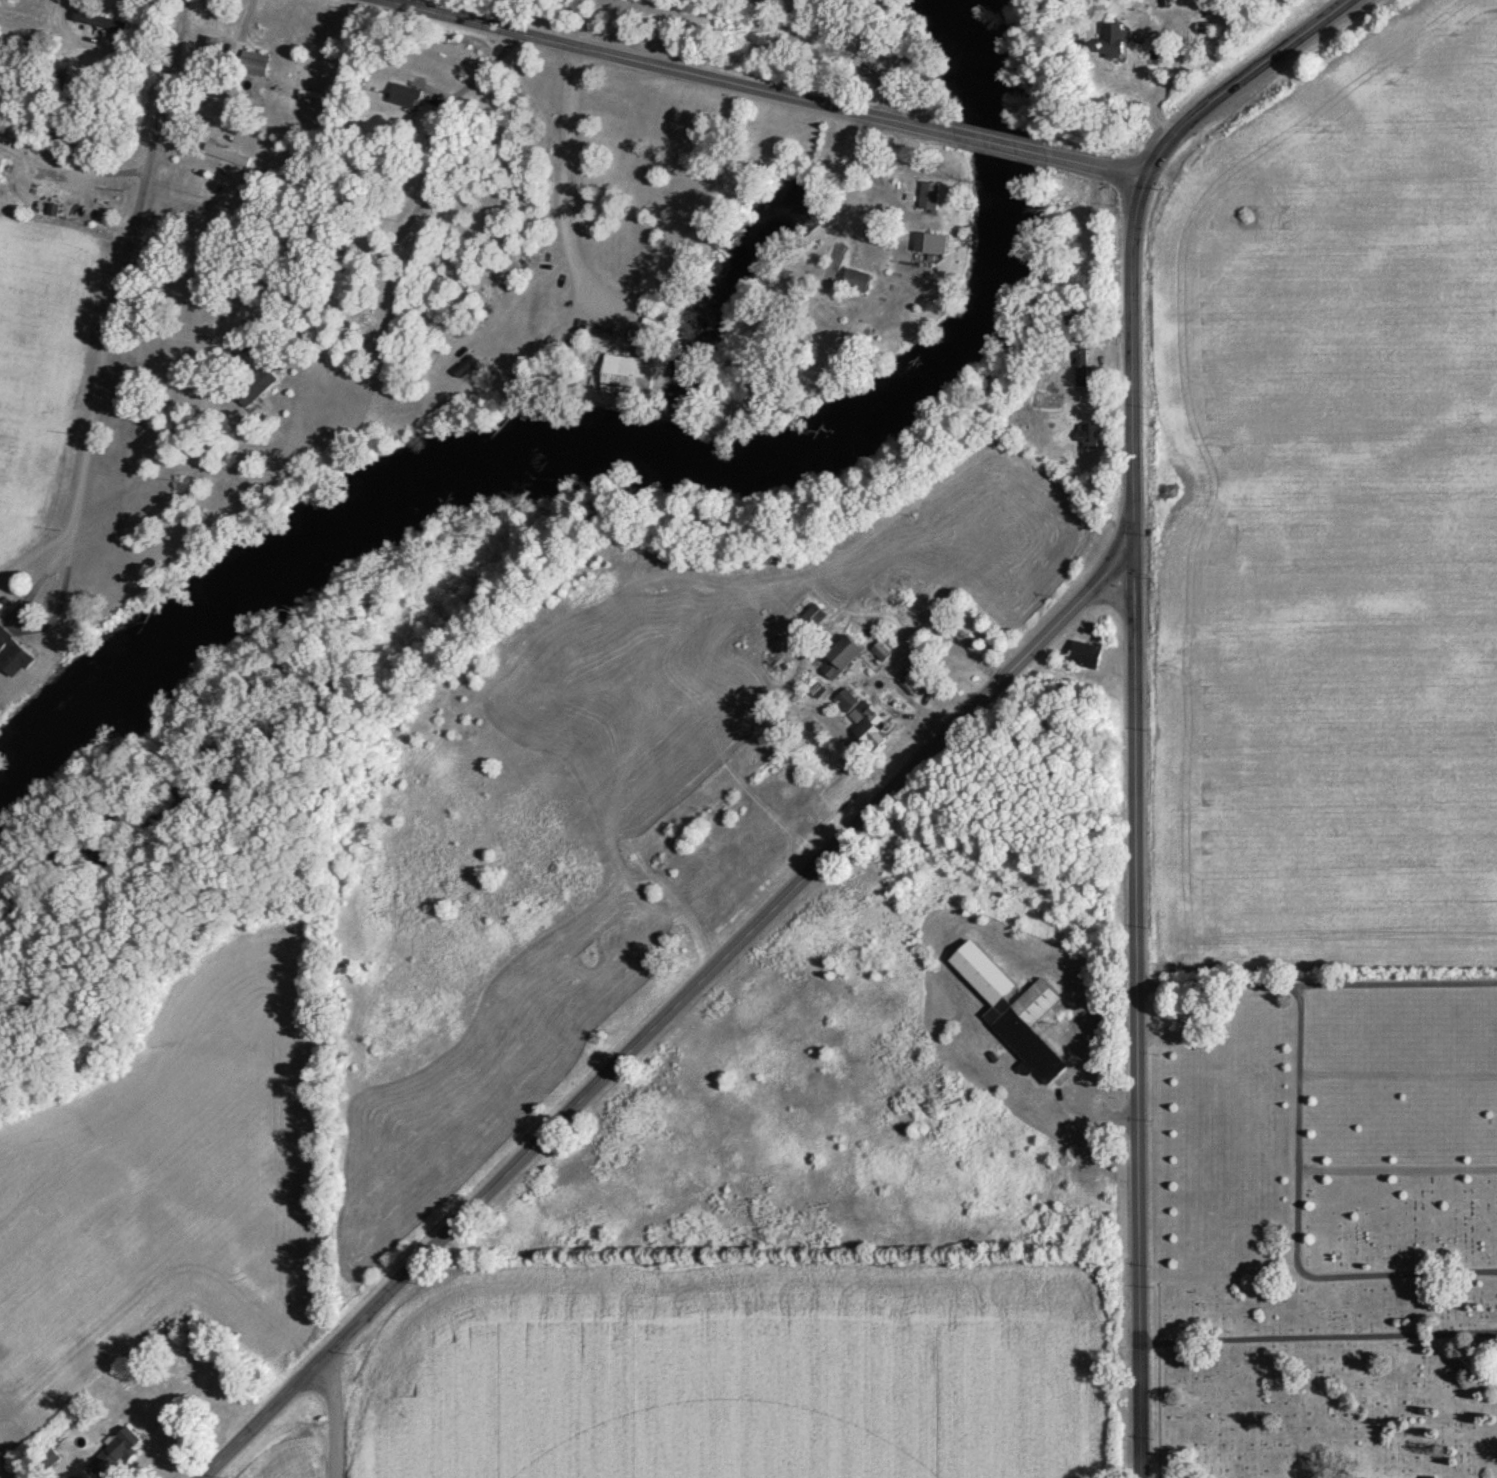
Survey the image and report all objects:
building: (99, 23)
building: (1114, 43)
building: (212, 50)
building: (253, 66)
road: (662, 68)
building: (404, 98)
road: (998, 147)
building: (1, 166)
road: (1096, 171)
building: (928, 199)
building: (924, 244)
building: (199, 248)
building: (341, 282)
building: (855, 282)
road: (114, 288)
building: (185, 292)
building: (1081, 368)
building: (626, 377)
building: (254, 388)
river: (630, 437)
building: (1087, 438)
building: (814, 618)
building: (960, 638)
building: (881, 654)
building: (1084, 657)
building: (11, 658)
building: (840, 659)
building: (910, 686)
building: (862, 722)
road: (893, 786)
road: (1316, 988)
road: (1137, 995)
building: (1012, 1012)
park: (1328, 1227)
road: (1281, 1235)
road: (1318, 1336)
road: (329, 1387)
building: (113, 1455)
road: (329, 1457)
road: (1142, 1460)

